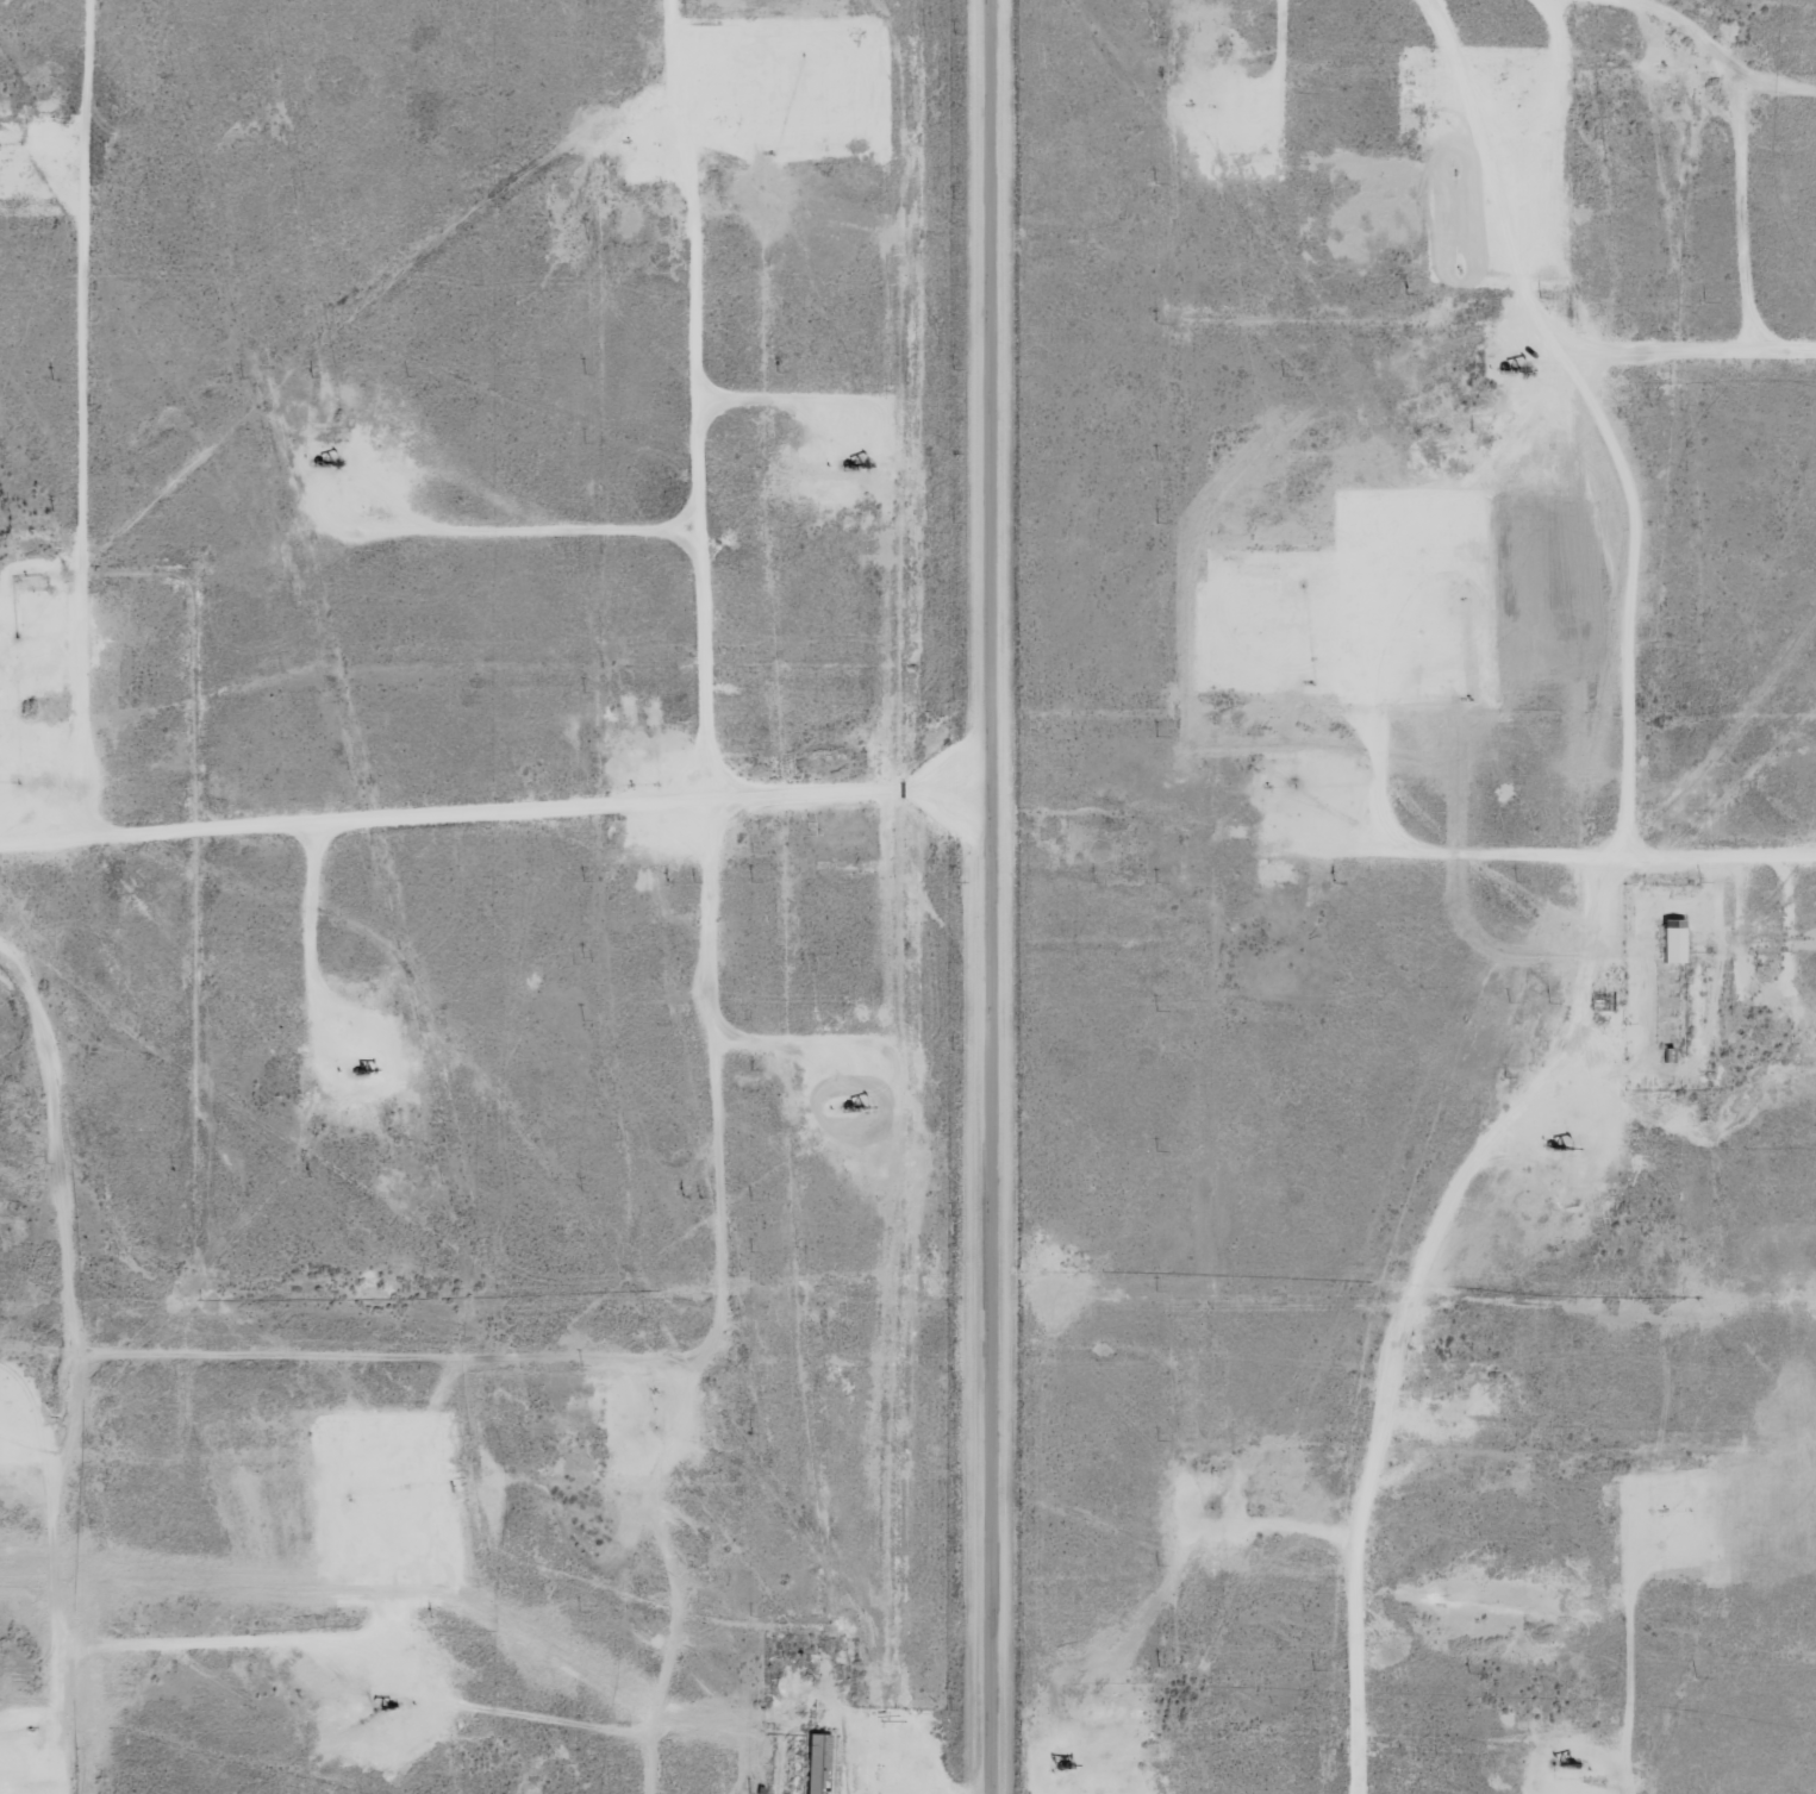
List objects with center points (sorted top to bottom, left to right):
road: (1724, 64)
road: (83, 67)
road: (1754, 198)
road: (1708, 319)
road: (500, 806)
road: (1624, 842)
road: (981, 896)
building: (1671, 940)
road: (711, 1014)
river: (311, 1202)
road: (51, 1317)
road: (682, 1573)

